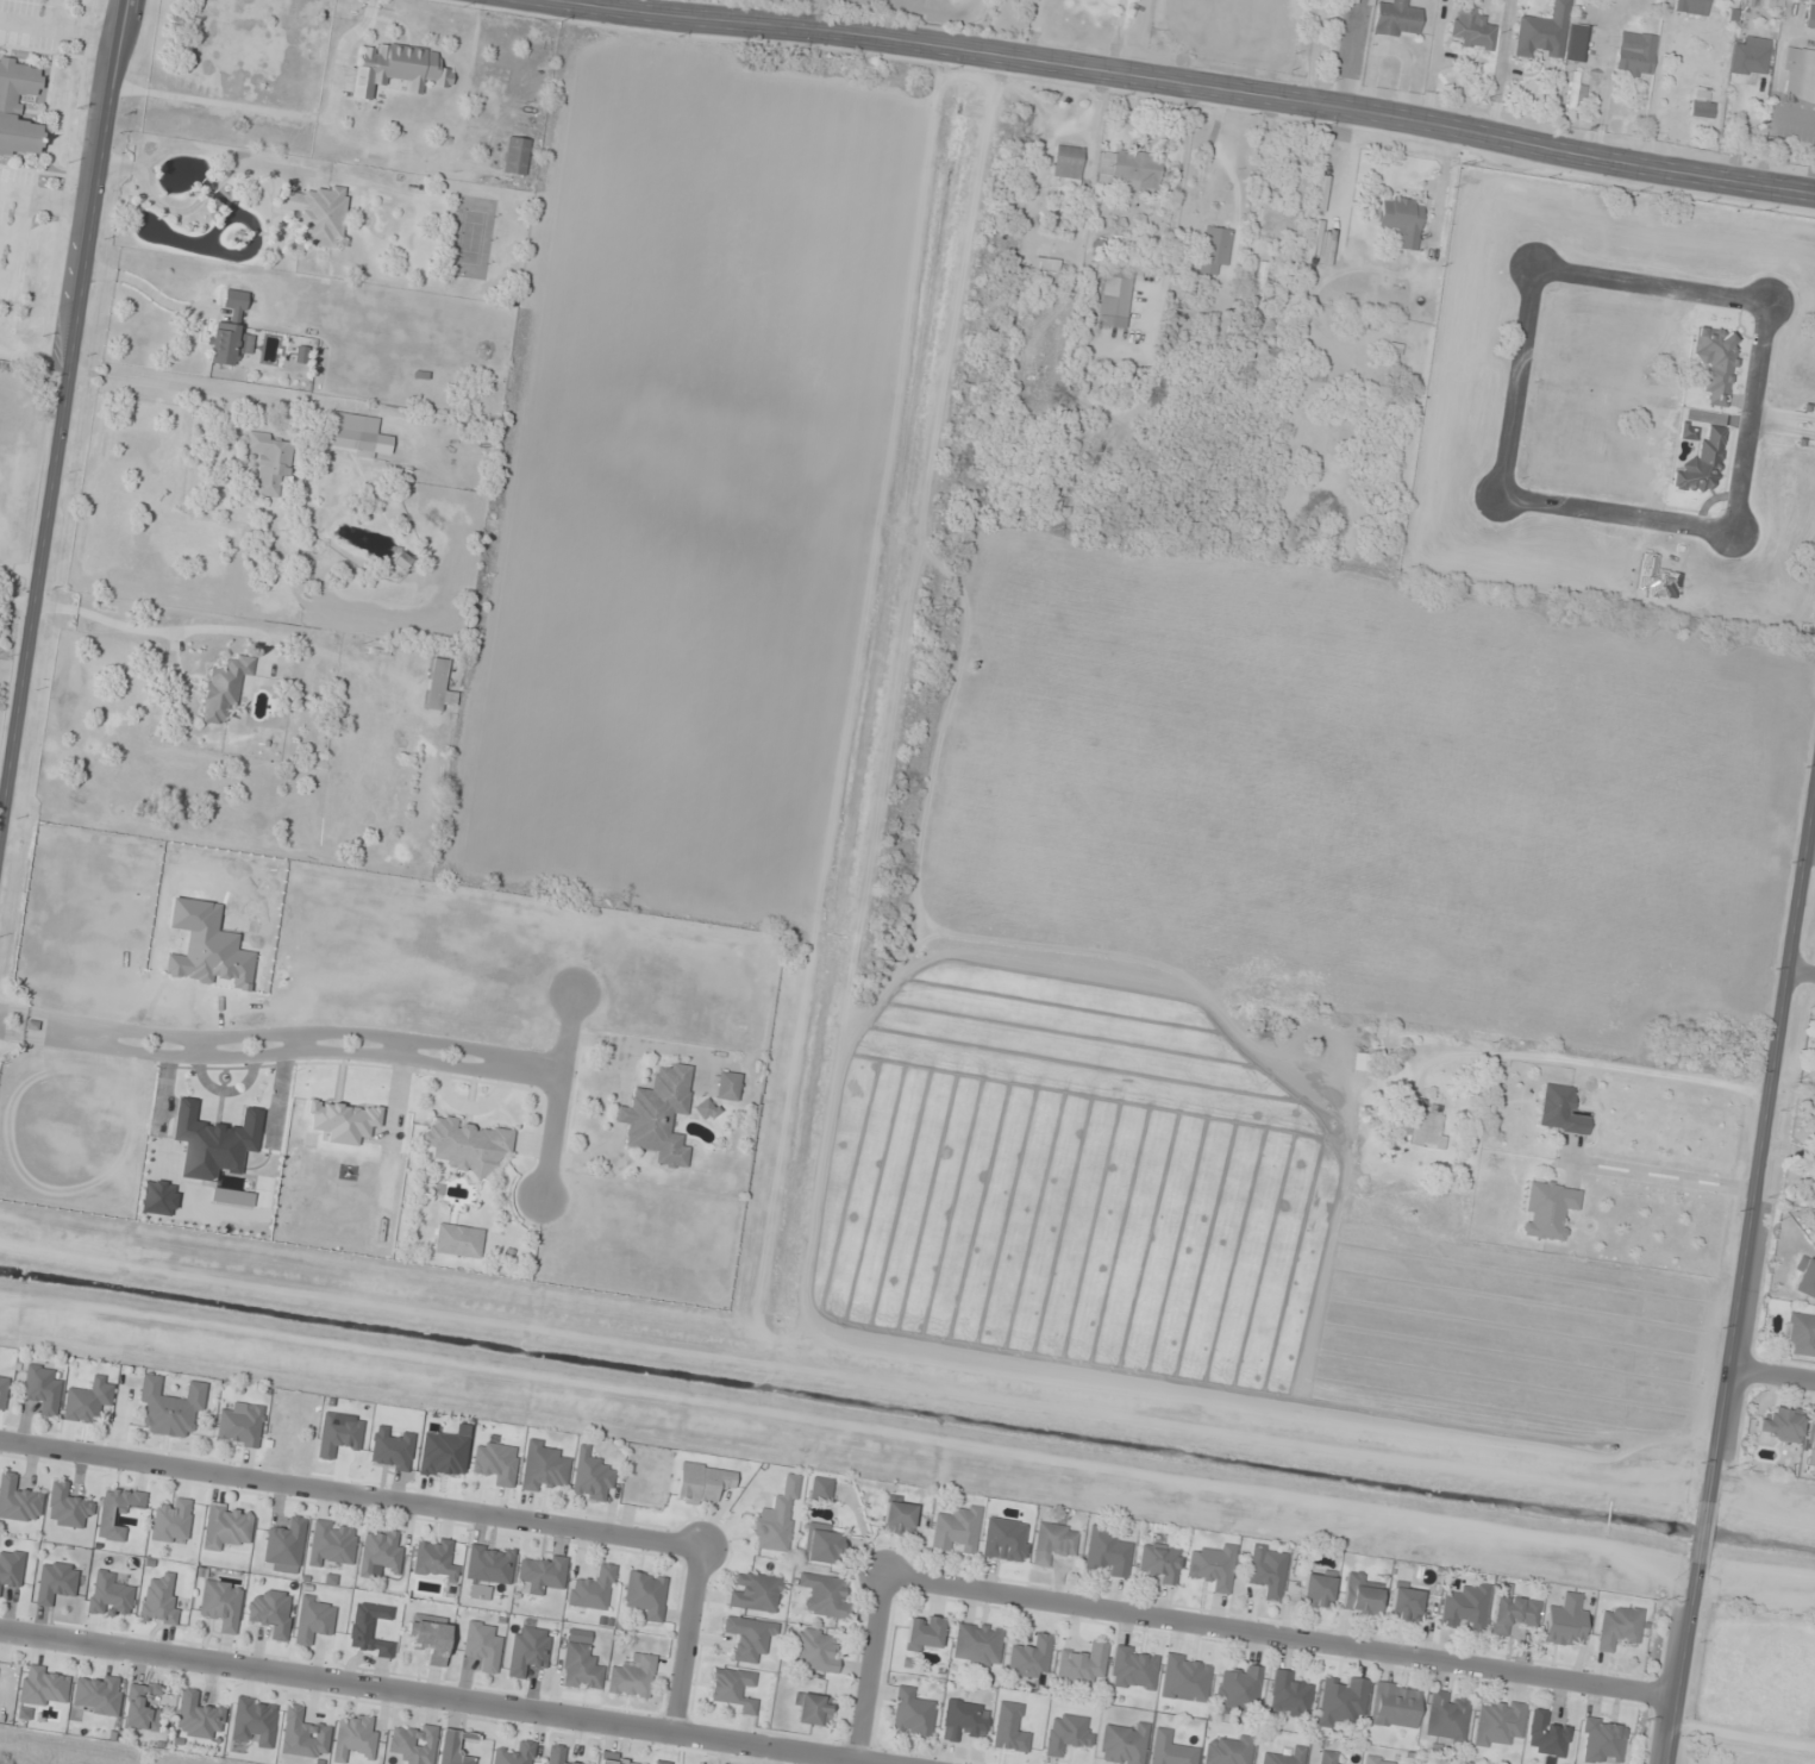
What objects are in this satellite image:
building: (1814, 0)
building: (1690, 6)
building: (1809, 17)
building: (1396, 19)
building: (1470, 29)
building: (1634, 54)
building: (1748, 55)
building: (399, 69)
building: (1801, 71)
road: (1197, 81)
building: (18, 106)
building: (1698, 117)
building: (515, 155)
building: (1066, 165)
building: (1129, 168)
building: (314, 214)
building: (1401, 219)
building: (1213, 249)
building: (1257, 281)
building: (1113, 296)
building: (231, 331)
road: (1514, 379)
road: (63, 421)
road: (1782, 423)
building: (352, 432)
building: (268, 462)
building: (401, 561)
building: (437, 684)
building: (223, 688)
road: (1804, 971)
road: (282, 1033)
road: (302, 1043)
road: (198, 1047)
road: (403, 1050)
road: (280, 1053)
building: (1814, 1059)
building: (1360, 1062)
building: (727, 1086)
road: (558, 1093)
building: (703, 1108)
building: (1560, 1109)
building: (658, 1115)
building: (1423, 1122)
building: (468, 1144)
building: (1547, 1208)
building: (458, 1240)
building: (1805, 1278)
road: (1744, 1300)
building: (1801, 1333)
road: (1775, 1374)
building: (42, 1388)
building: (4, 1389)
building: (87, 1400)
building: (169, 1406)
building: (240, 1425)
building: (1780, 1425)
building: (1811, 1440)
building: (496, 1462)
building: (543, 1465)
building: (590, 1475)
building: (703, 1482)
building: (820, 1488)
road: (352, 1490)
building: (19, 1499)
building: (68, 1506)
building: (115, 1510)
building: (899, 1516)
building: (776, 1519)
building: (171, 1520)
building: (226, 1526)
building: (957, 1530)
building: (331, 1541)
building: (822, 1543)
building: (1053, 1543)
building: (284, 1545)
building: (380, 1551)
building: (1107, 1552)
building: (434, 1558)
building: (1159, 1562)
building: (11, 1566)
building: (1214, 1566)
building: (1268, 1569)
building: (56, 1581)
building: (593, 1589)
building: (1318, 1589)
building: (755, 1591)
building: (646, 1593)
building: (108, 1595)
building: (824, 1595)
building: (1359, 1595)
building: (159, 1600)
building: (221, 1602)
building: (1406, 1602)
building: (1465, 1608)
building: (271, 1612)
building: (1513, 1613)
building: (1564, 1620)
building: (314, 1621)
building: (1619, 1627)
building: (924, 1633)
road: (1282, 1635)
building: (747, 1637)
building: (430, 1638)
road: (691, 1638)
building: (977, 1643)
building: (482, 1645)
building: (528, 1650)
building: (813, 1650)
building: (1031, 1657)
building: (1082, 1662)
building: (581, 1668)
road: (874, 1668)
building: (1133, 1668)
building: (633, 1675)
building: (1184, 1678)
building: (44, 1685)
building: (734, 1688)
building: (1235, 1689)
building: (96, 1694)
building: (1289, 1695)
road: (440, 1696)
building: (1341, 1699)
building: (1395, 1704)
building: (143, 1706)
building: (812, 1708)
building: (912, 1713)
building: (198, 1715)
building: (1446, 1716)
building: (964, 1719)
building: (255, 1720)
building: (1498, 1724)
building: (303, 1733)
building: (1066, 1734)
road: (1744, 1734)
building: (353, 1735)
building: (413, 1743)
building: (1124, 1745)
building: (453, 1747)
building: (1171, 1749)
building: (1229, 1750)
building: (515, 1754)
building: (559, 1756)
building: (1283, 1757)
building: (1329, 1757)
building: (611, 1758)
building: (1383, 1760)
building: (662, 1762)

